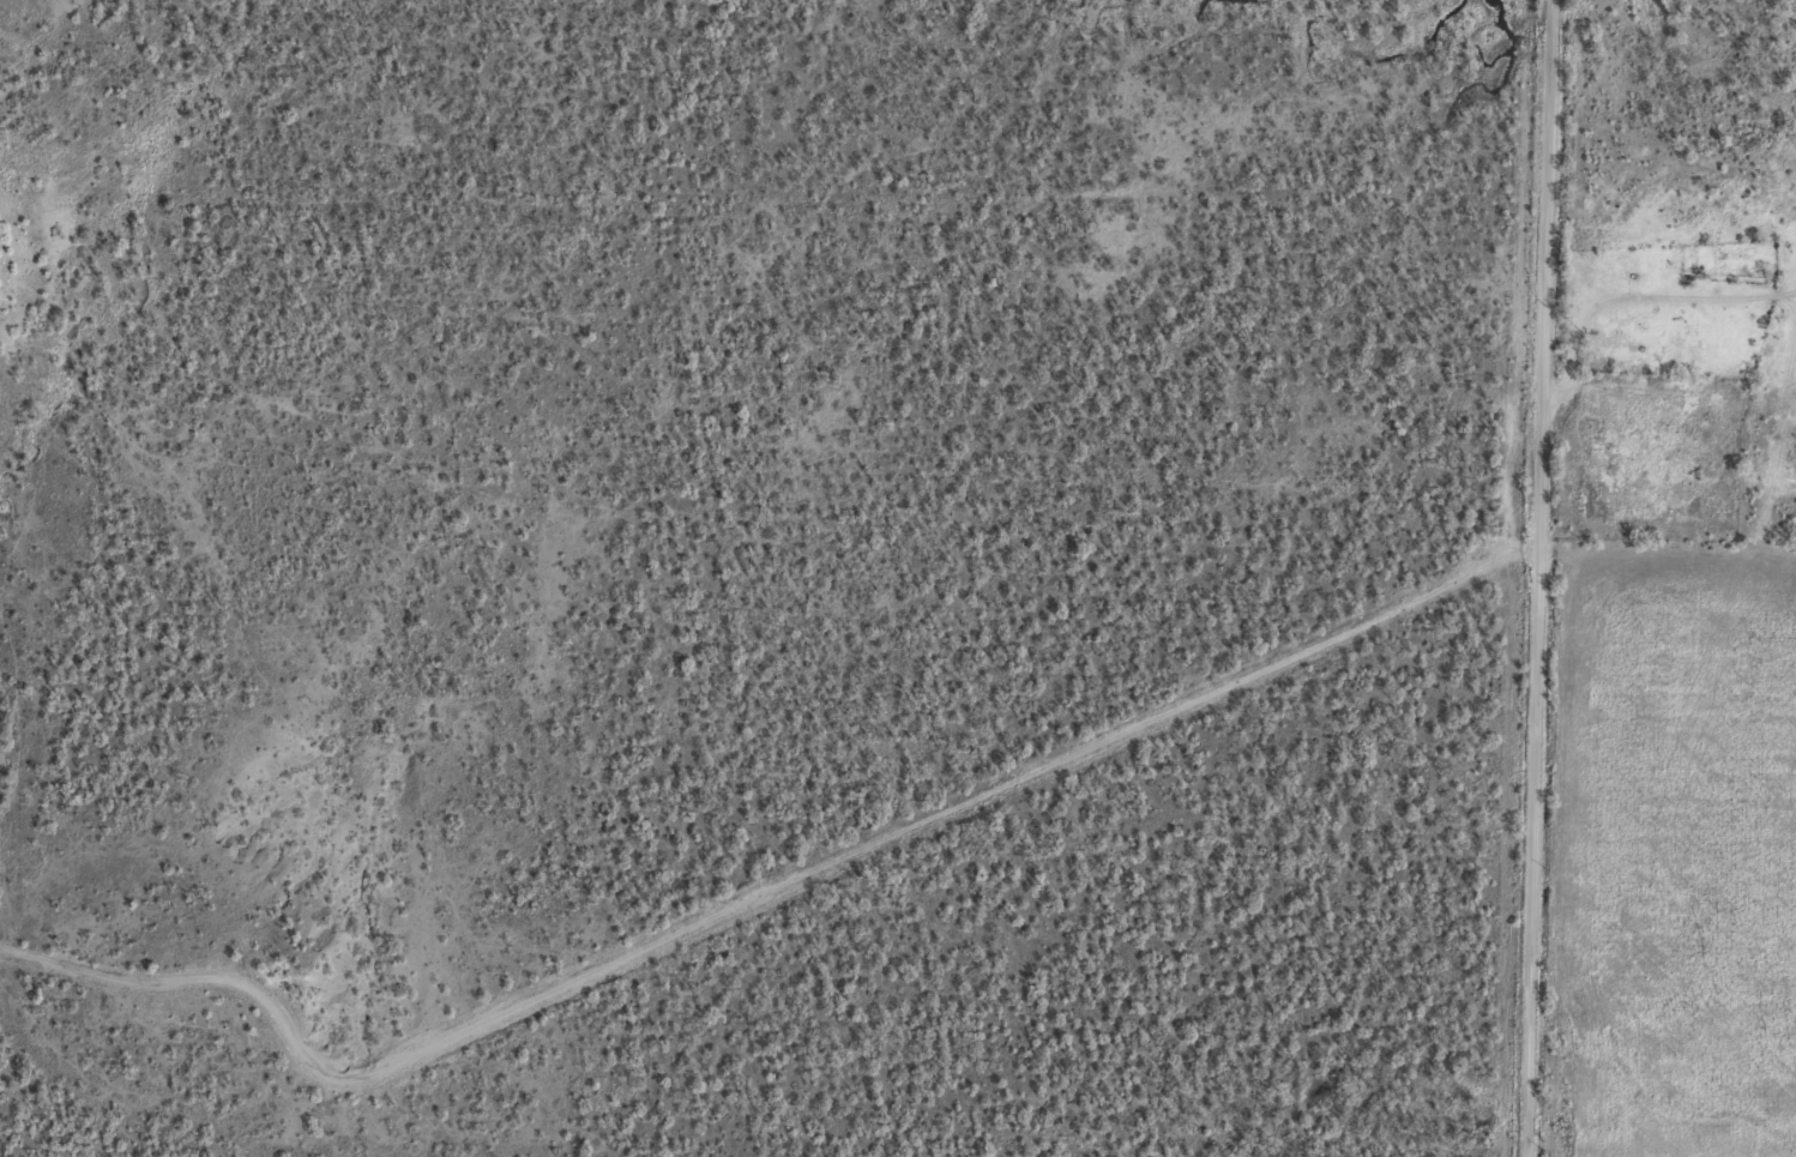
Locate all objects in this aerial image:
road: (1541, 578)

